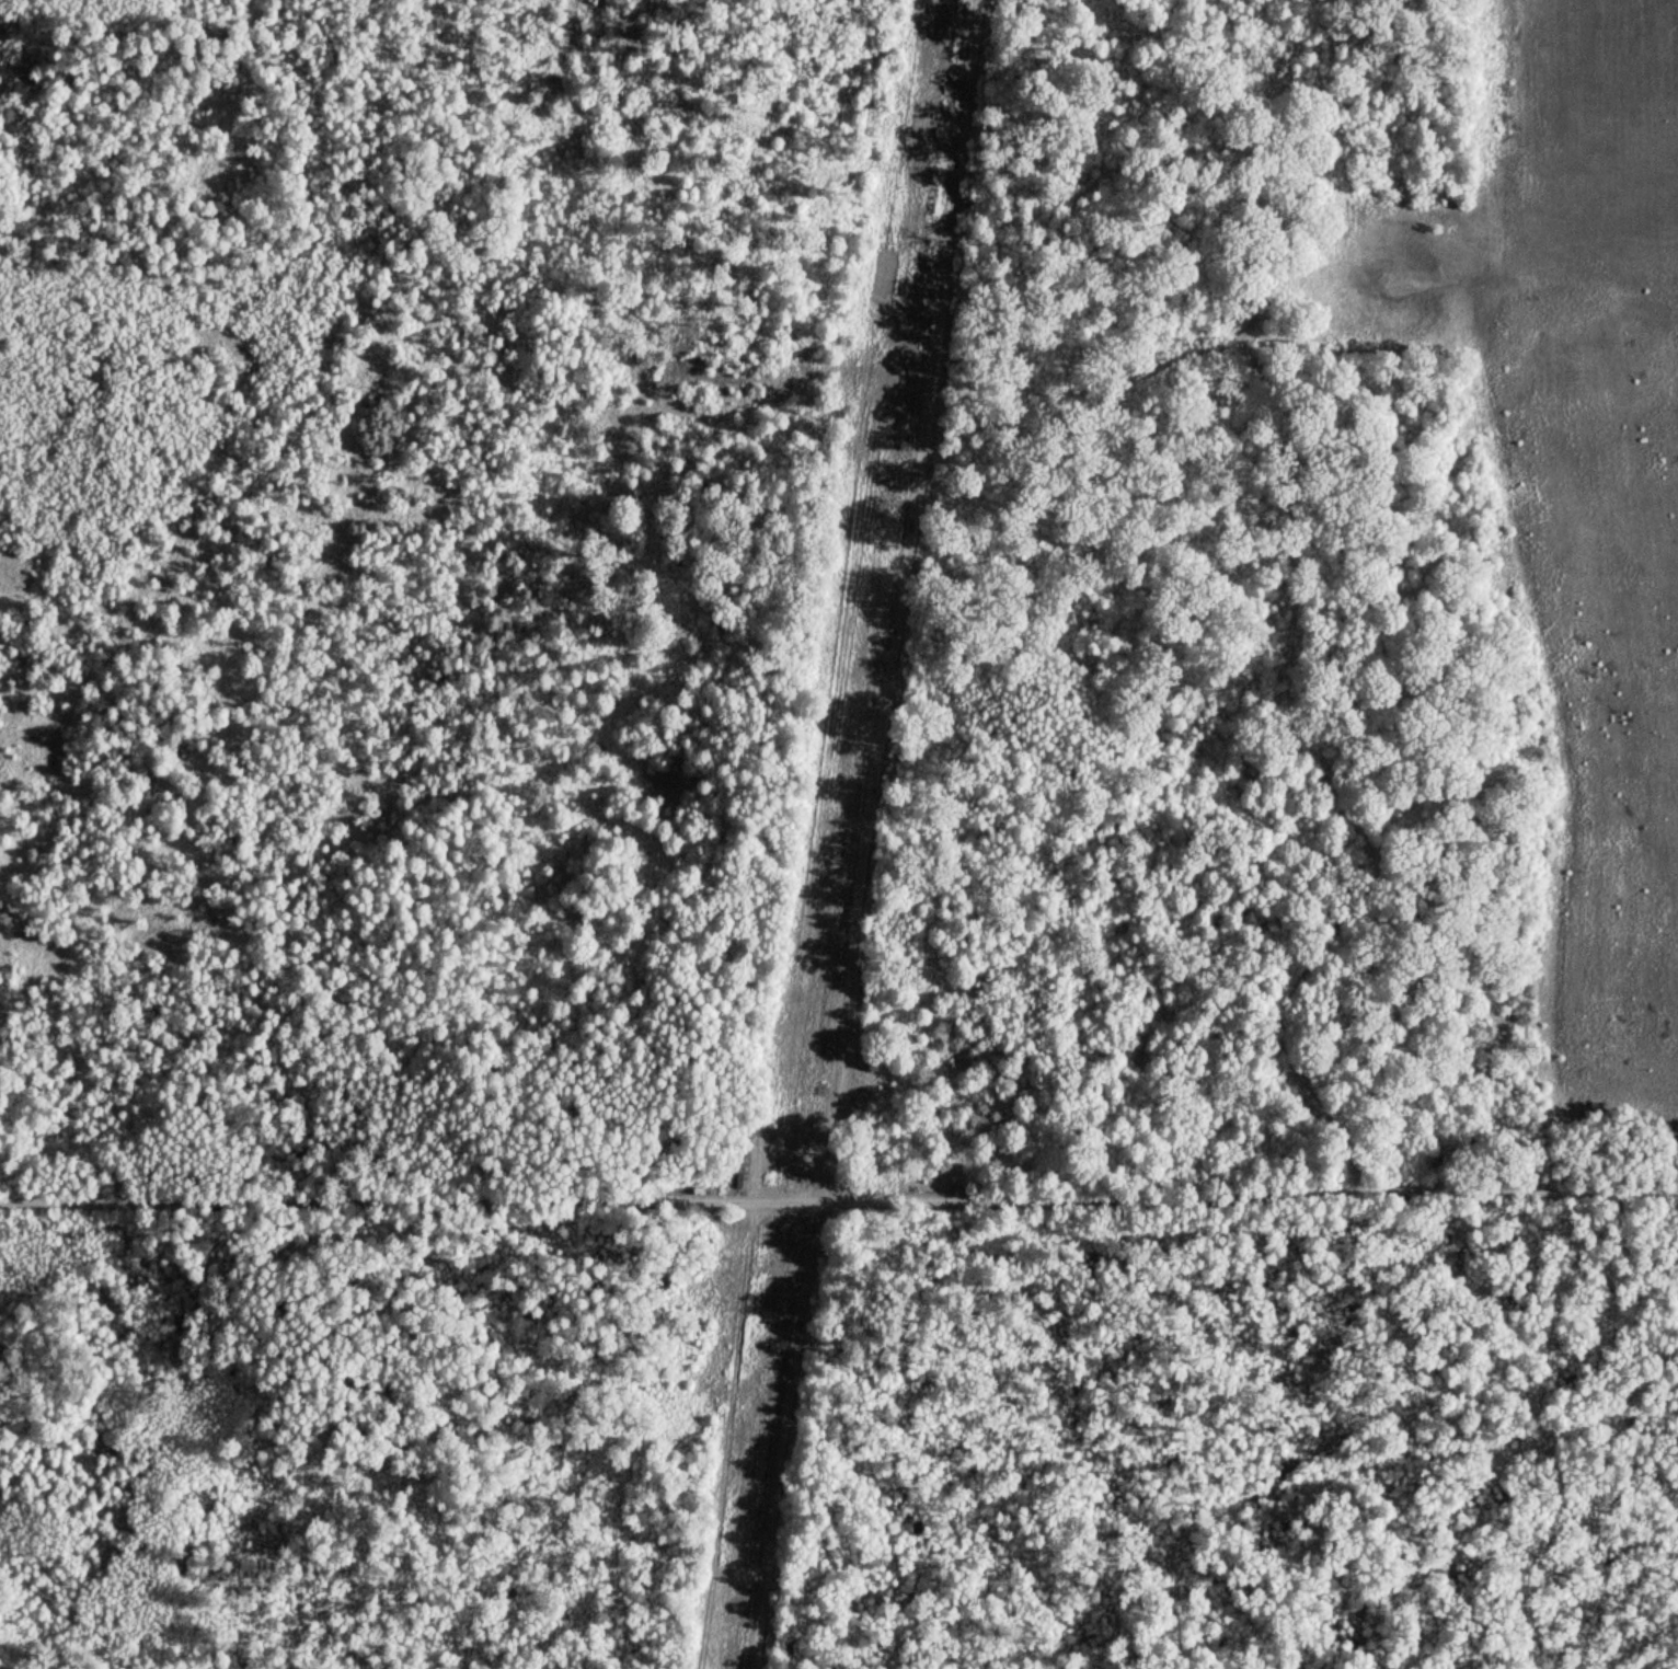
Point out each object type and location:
road: (871, 834)
building: (738, 1167)
road: (839, 1204)

